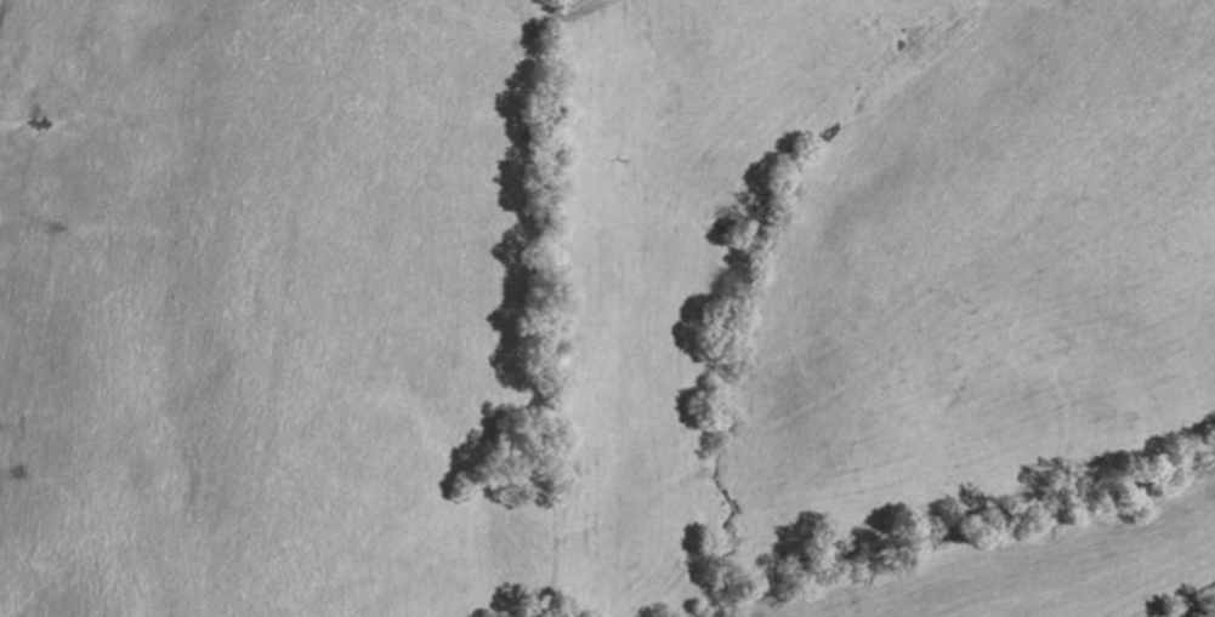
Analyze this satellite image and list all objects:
road: (1200, 610)

